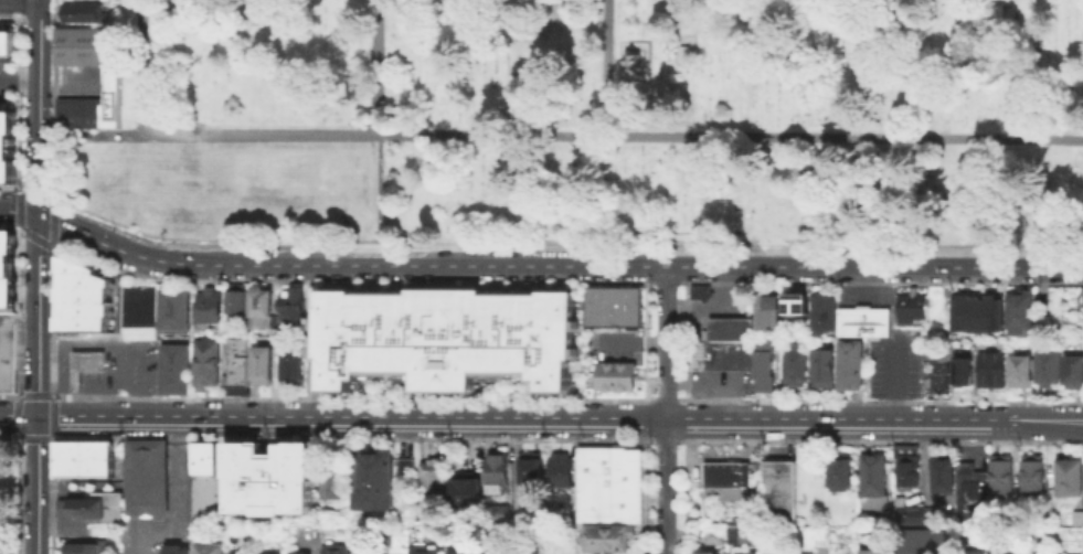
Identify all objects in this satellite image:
building: (87, 14)
building: (7, 42)
park: (851, 63)
road: (378, 65)
road: (142, 66)
road: (607, 67)
road: (20, 78)
parking lot: (77, 79)
building: (108, 79)
parking lot: (7, 83)
park: (593, 121)
road: (561, 134)
building: (7, 143)
park: (226, 185)
road: (379, 198)
traffic signals: (40, 217)
road: (184, 263)
road: (731, 266)
building: (7, 273)
road: (645, 273)
road: (687, 273)
road: (39, 276)
building: (700, 290)
building: (236, 299)
building: (86, 300)
building: (796, 301)
building: (208, 303)
building: (291, 303)
building: (613, 305)
building: (258, 307)
building: (173, 309)
building: (137, 310)
building: (766, 310)
building: (821, 310)
building: (915, 310)
building: (960, 311)
building: (992, 311)
building: (1023, 311)
building: (977, 313)
building: (863, 320)
building: (730, 328)
building: (442, 337)
road: (645, 340)
road: (686, 340)
road: (667, 341)
building: (9, 353)
building: (728, 353)
building: (960, 356)
building: (236, 360)
building: (204, 361)
building: (259, 362)
building: (82, 363)
building: (289, 363)
building: (850, 363)
building: (765, 364)
building: (821, 365)
building: (1049, 365)
building: (172, 367)
building: (794, 367)
building: (994, 370)
building: (1074, 370)
building: (615, 374)
building: (1022, 374)
building: (939, 375)
road: (894, 380)
parking lot: (721, 382)
road: (43, 395)
road: (50, 396)
road: (346, 396)
road: (665, 398)
road: (885, 399)
road: (50, 415)
road: (1074, 415)
road: (19, 416)
traffic signals: (39, 416)
road: (645, 416)
road: (466, 417)
road: (684, 418)
road: (949, 419)
road: (1036, 419)
road: (1073, 424)
road: (51, 435)
road: (43, 436)
road: (346, 437)
road: (663, 439)
road: (883, 440)
building: (82, 457)
road: (173, 465)
building: (404, 465)
building: (905, 466)
building: (532, 470)
building: (561, 472)
building: (842, 475)
building: (943, 475)
building: (145, 476)
building: (1069, 476)
building: (1001, 477)
building: (269, 478)
building: (371, 478)
building: (500, 478)
building: (1031, 478)
building: (874, 479)
building: (330, 480)
building: (730, 481)
building: (435, 482)
building: (205, 484)
road: (666, 486)
building: (610, 488)
building: (777, 491)
building: (970, 491)
road: (644, 492)
road: (684, 494)
building: (468, 496)
park: (7, 497)
building: (83, 510)
building: (911, 513)
building: (500, 515)
building: (1076, 516)
street lamp: (14, 522)
road: (153, 532)
building: (735, 536)
building: (716, 539)
building: (608, 541)
building: (924, 542)
building: (79, 547)
building: (210, 547)
building: (174, 551)
building: (337, 551)
building: (1002, 551)
building: (427, 552)
building: (455, 552)
building: (705, 552)
building: (744, 552)
building: (976, 552)
building: (261, 553)
building: (300, 553)
building: (491, 553)
building: (529, 553)
building: (874, 553)

